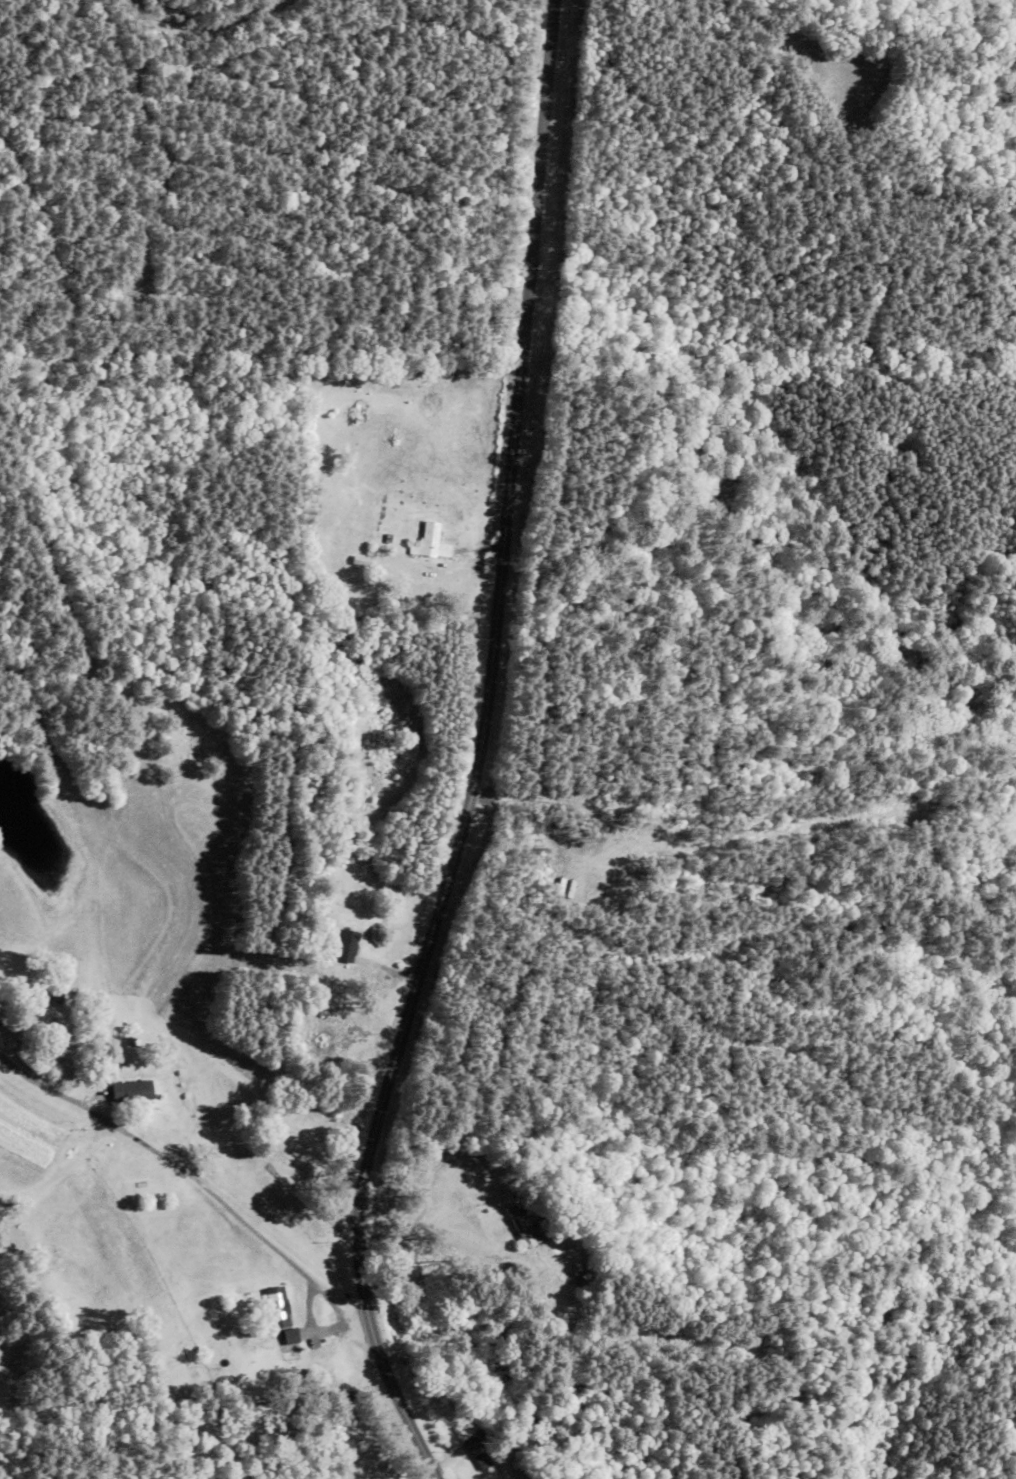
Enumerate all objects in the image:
road: (795, 63)
road: (524, 162)
road: (425, 909)
building: (346, 946)
building: (64, 1068)
building: (130, 1092)
road: (189, 1162)
building: (519, 1227)
building: (278, 1307)
building: (483, 1449)

